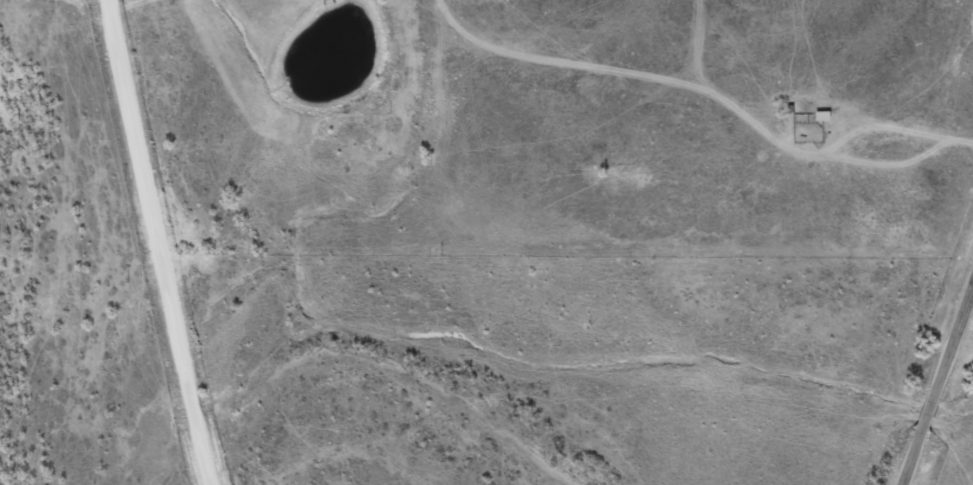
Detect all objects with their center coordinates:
road: (145, 244)
road: (954, 343)
road: (930, 411)
road: (914, 455)

